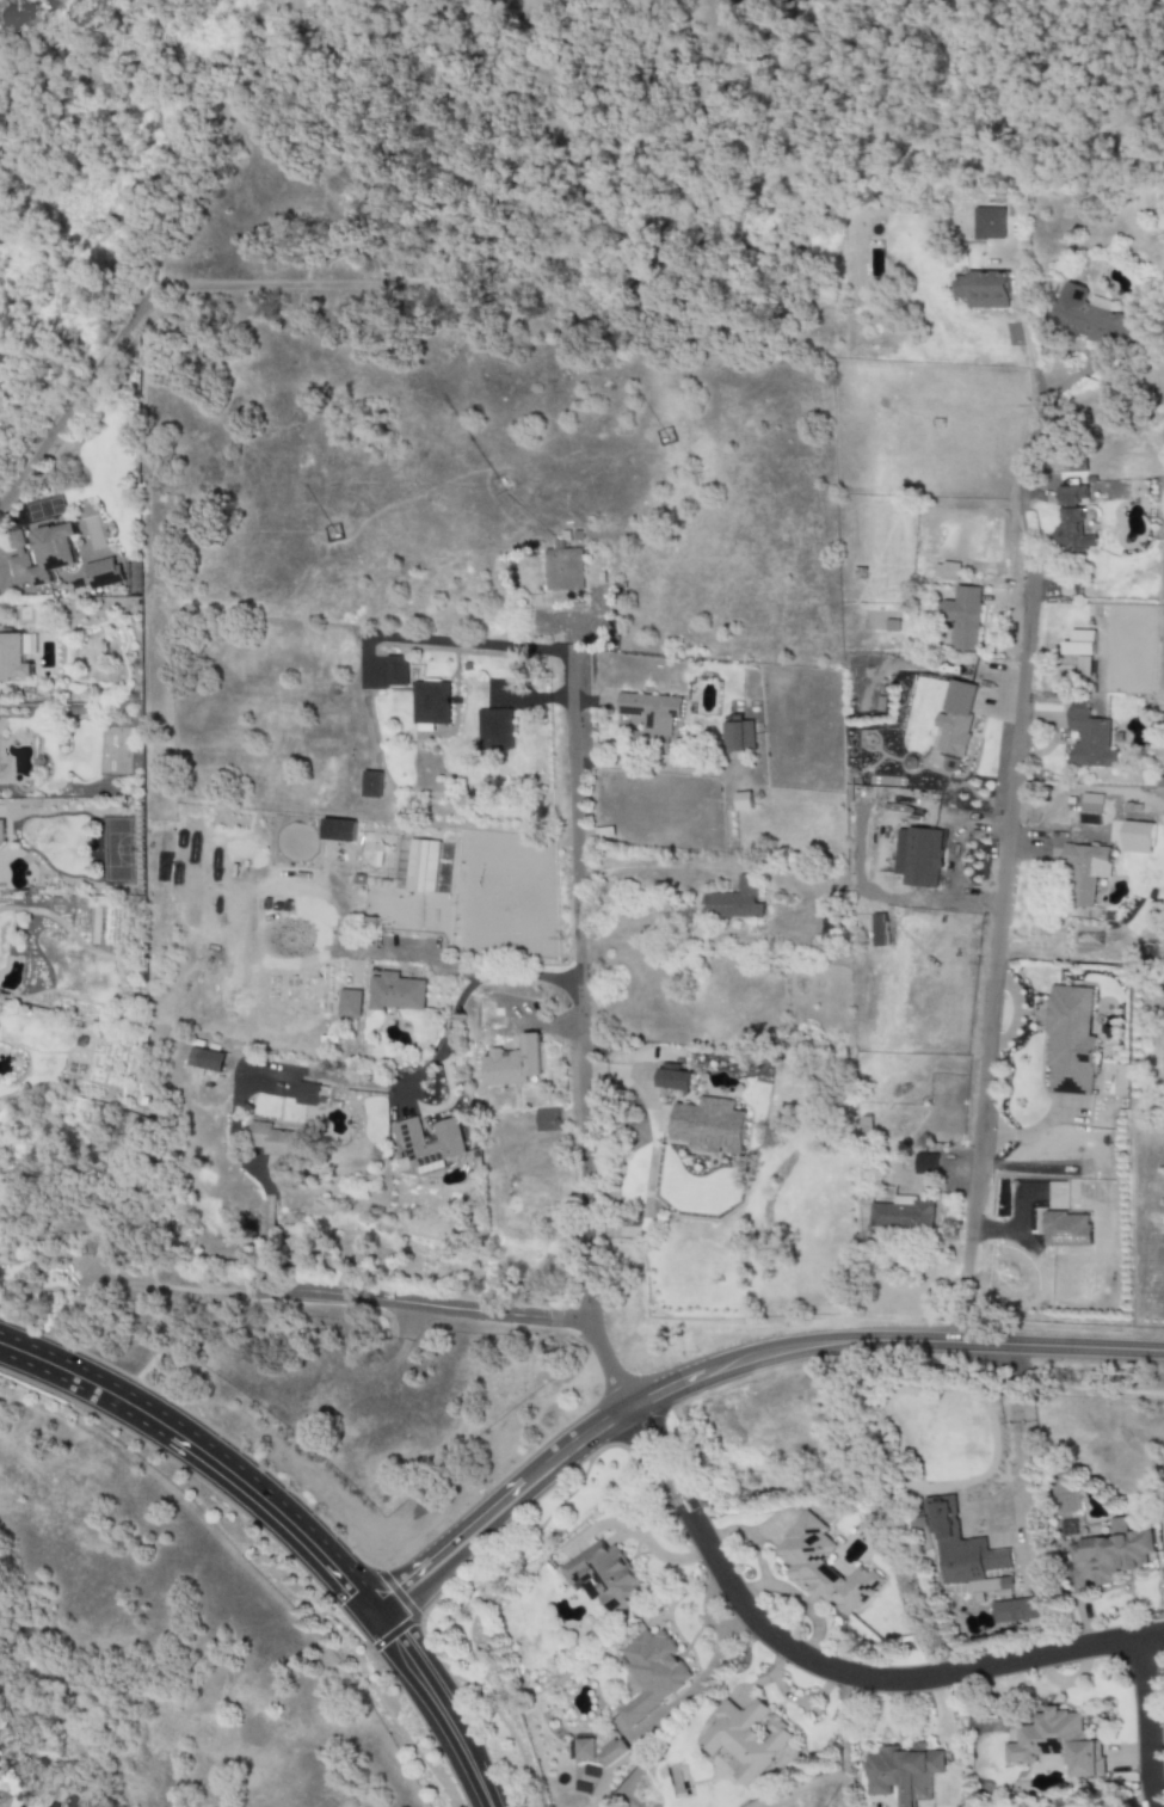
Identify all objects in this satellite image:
building: (987, 223)
building: (984, 290)
building: (1091, 319)
road: (78, 398)
road: (1036, 413)
building: (1071, 496)
building: (1073, 534)
building: (565, 570)
building: (947, 572)
building: (100, 573)
road: (1, 574)
building: (962, 617)
road: (448, 645)
building: (13, 658)
building: (1080, 658)
building: (395, 671)
building: (430, 706)
building: (956, 718)
building: (651, 719)
building: (495, 730)
building: (737, 736)
building: (1089, 738)
building: (371, 785)
building: (743, 801)
building: (1090, 810)
building: (338, 830)
building: (1, 836)
building: (1137, 837)
building: (918, 858)
building: (421, 866)
building: (1084, 872)
building: (738, 901)
building: (877, 930)
road: (408, 954)
road: (994, 960)
road: (529, 977)
building: (396, 992)
building: (350, 1003)
building: (488, 1016)
road: (580, 1030)
building: (1070, 1041)
road: (437, 1049)
building: (205, 1059)
building: (513, 1063)
building: (672, 1078)
building: (306, 1094)
building: (547, 1119)
building: (708, 1126)
road: (233, 1135)
building: (275, 1141)
building: (435, 1145)
building: (925, 1164)
building: (903, 1213)
road: (269, 1229)
building: (1067, 1230)
road: (261, 1276)
road: (129, 1286)
road: (423, 1307)
road: (1063, 1351)
road: (792, 1360)
road: (1077, 1389)
road: (1016, 1428)
road: (209, 1456)
road: (682, 1463)
road: (653, 1481)
road: (504, 1514)
road: (642, 1537)
building: (963, 1545)
building: (1114, 1553)
building: (825, 1567)
building: (606, 1576)
road: (707, 1605)
building: (1018, 1611)
road: (424, 1625)
road: (350, 1633)
road: (349, 1649)
building: (655, 1674)
road: (901, 1679)
road: (698, 1680)
road: (444, 1709)
road: (1143, 1723)
building: (750, 1739)
building: (1059, 1743)
building: (584, 1750)
building: (614, 1752)
building: (906, 1772)
building: (1, 1800)

